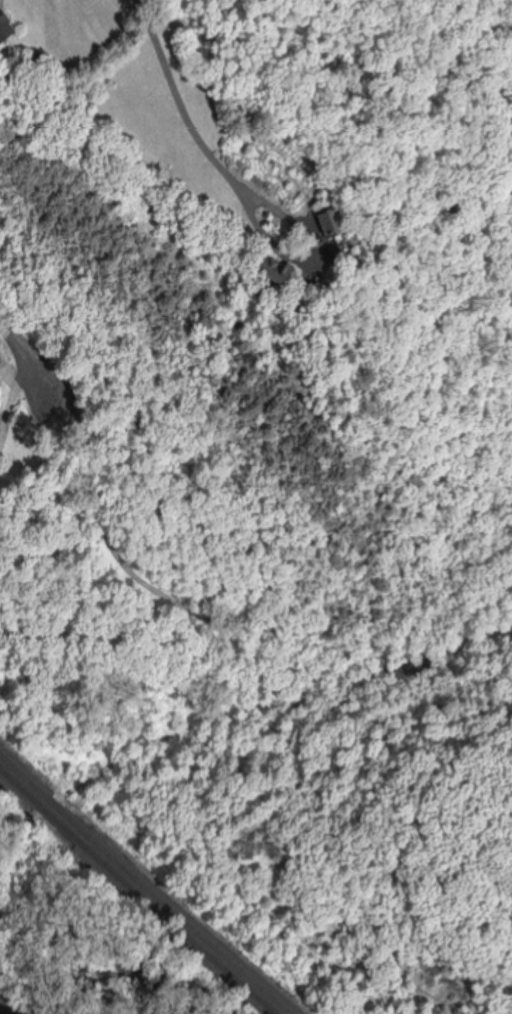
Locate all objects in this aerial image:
building: (8, 20)
building: (338, 216)
building: (277, 260)
building: (309, 343)
road: (26, 354)
building: (0, 535)
railway: (24, 775)
railway: (21, 786)
railway: (70, 818)
railway: (62, 826)
railway: (192, 926)
railway: (178, 929)

